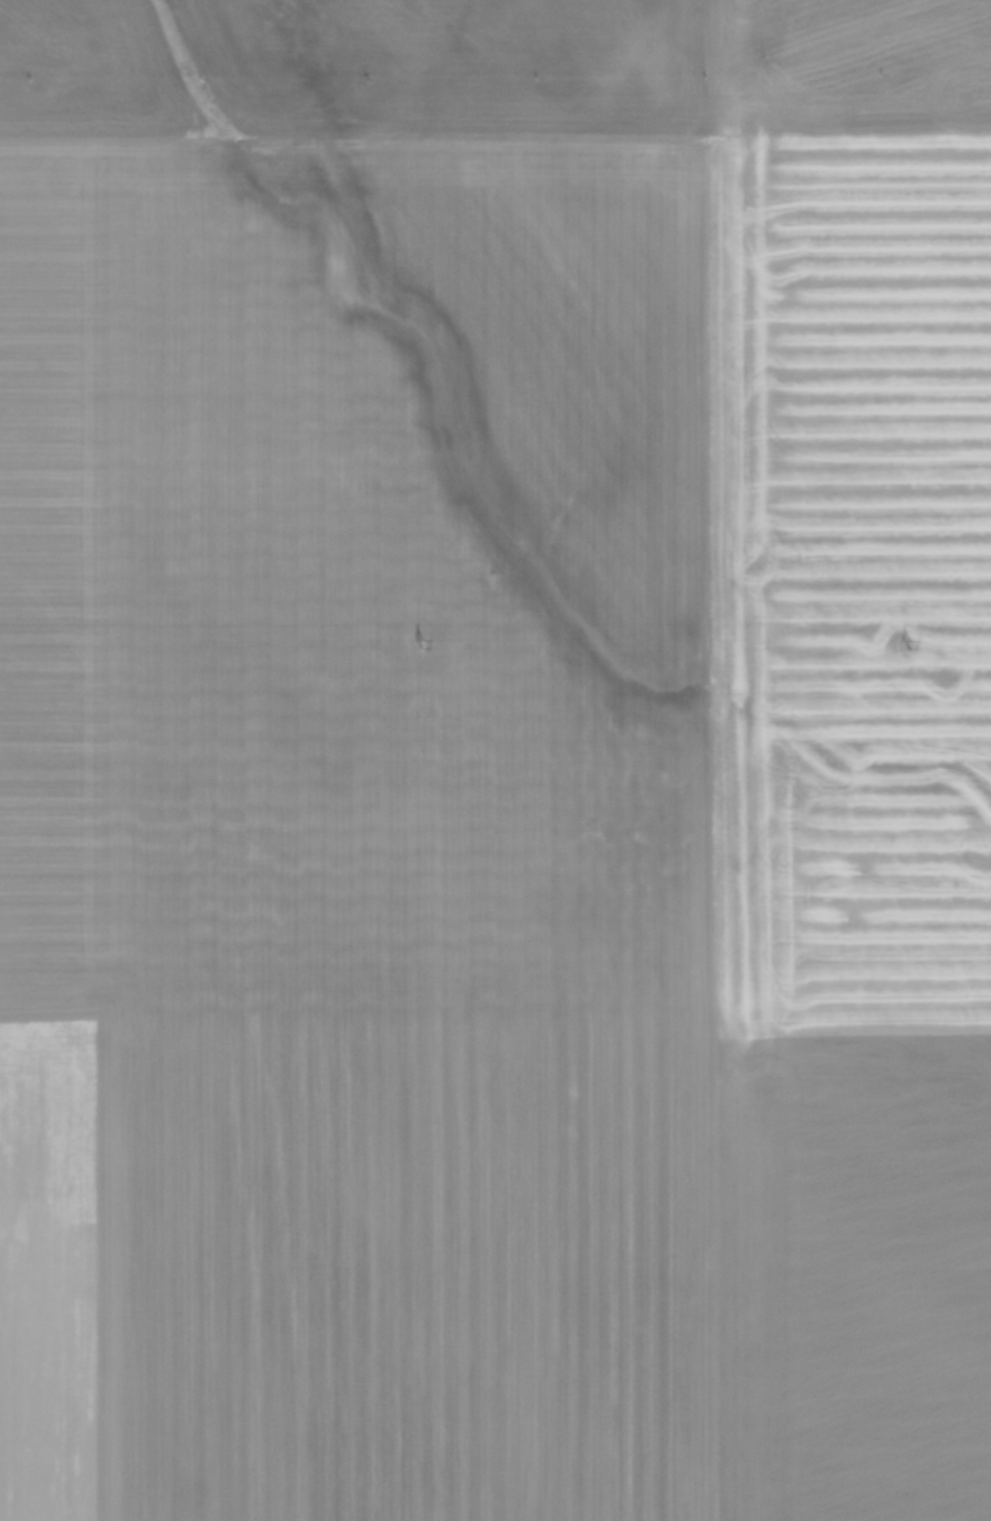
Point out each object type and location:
power tower: (422, 644)
power tower: (910, 645)
crop: (495, 760)

